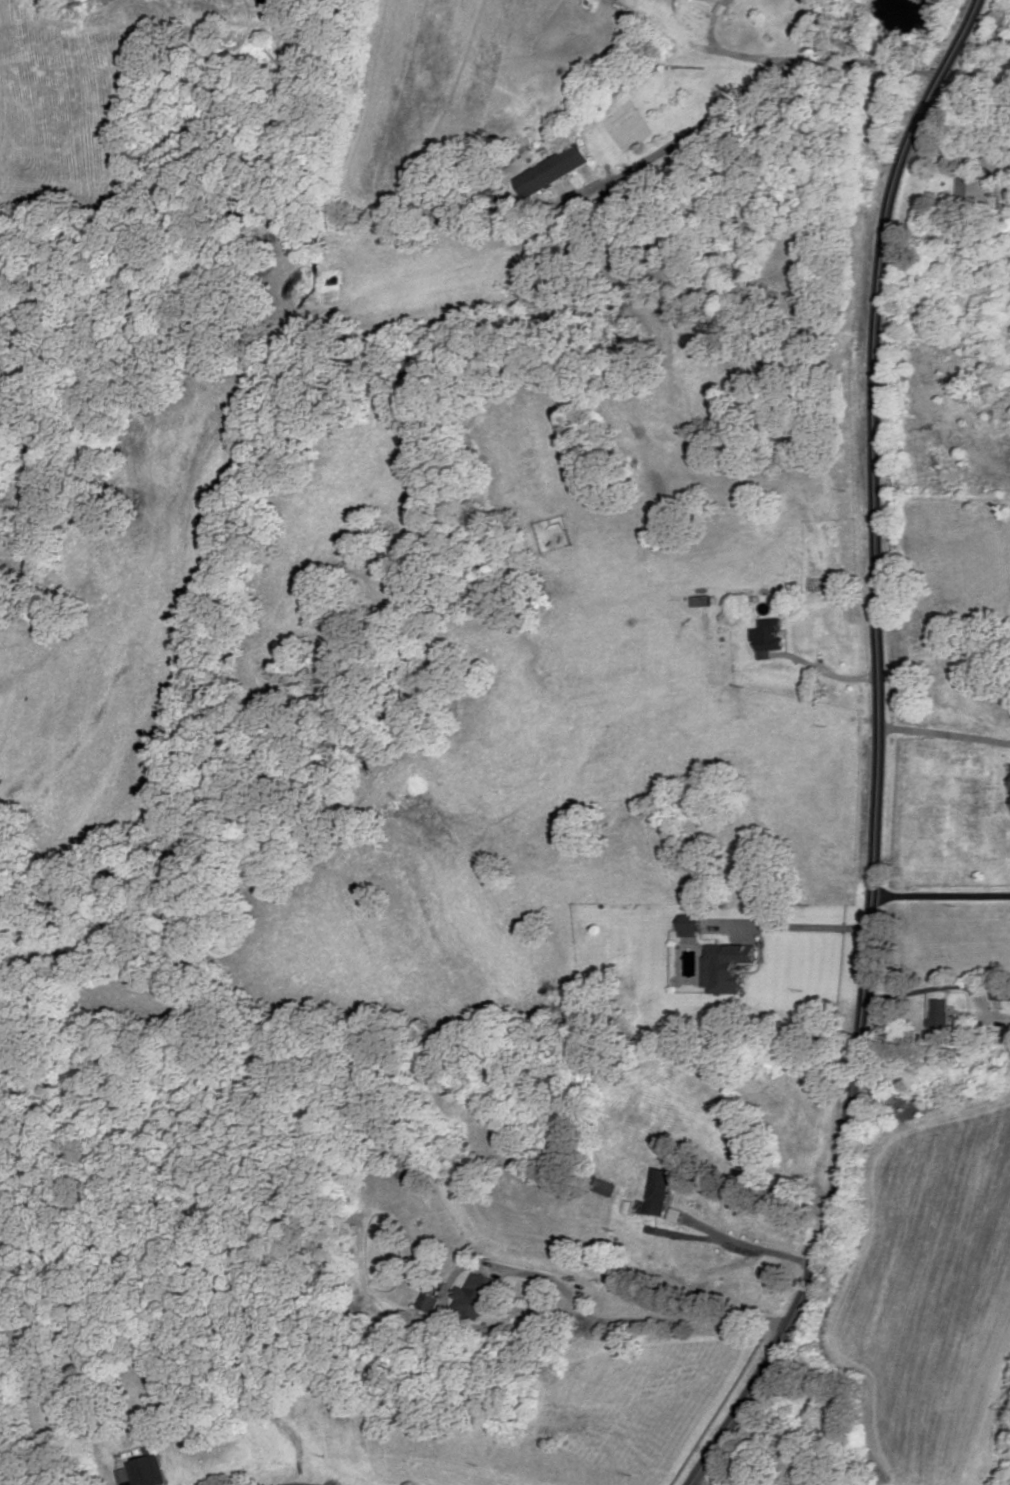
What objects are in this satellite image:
road: (736, 28)
road: (687, 44)
road: (845, 62)
road: (682, 141)
road: (959, 153)
building: (550, 171)
building: (973, 194)
building: (769, 636)
road: (821, 669)
road: (945, 733)
road: (881, 751)
road: (942, 888)
building: (694, 923)
road: (798, 928)
building: (728, 966)
road: (929, 988)
building: (1001, 991)
building: (941, 1015)
building: (402, 1168)
building: (605, 1188)
building: (660, 1192)
road: (753, 1244)
crop: (930, 1289)
building: (478, 1294)
building: (432, 1302)
road: (515, 1324)
building: (149, 1471)
road: (706, 1481)

